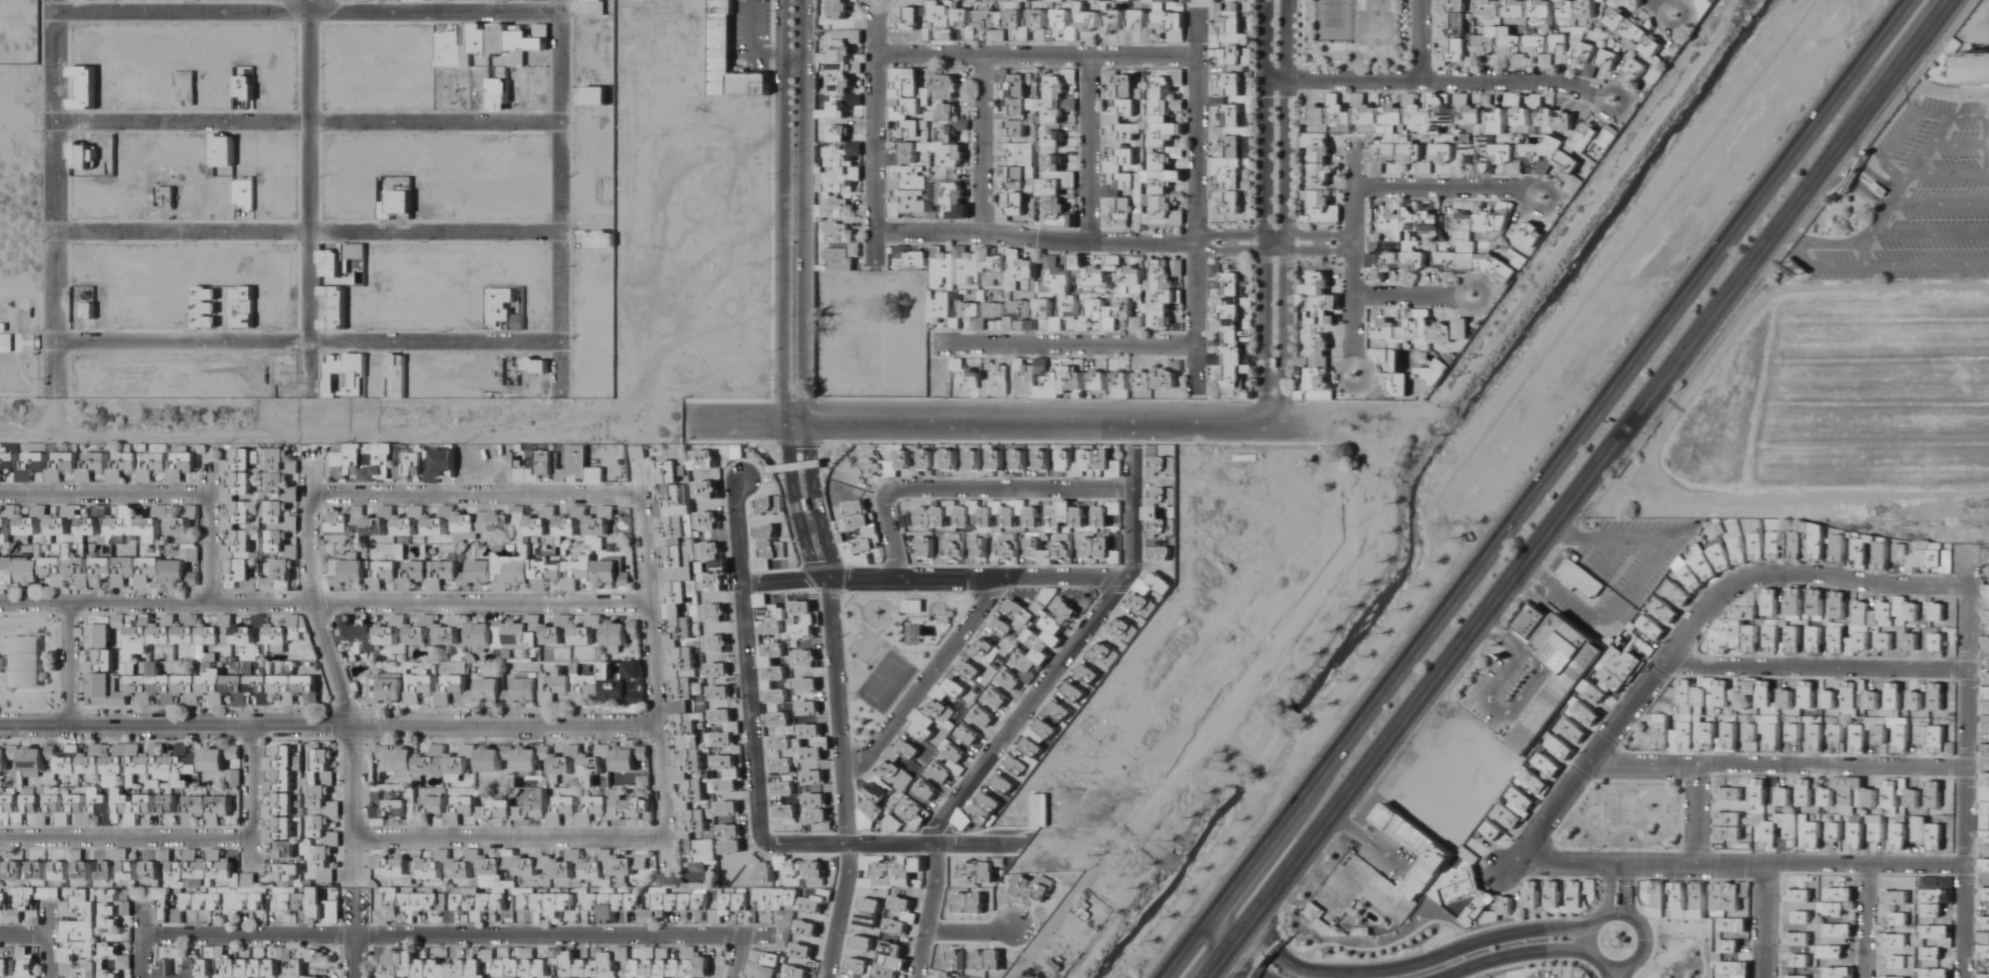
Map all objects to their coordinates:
park: (892, 647)
park: (30, 658)
park: (1626, 817)
park: (1682, 947)

